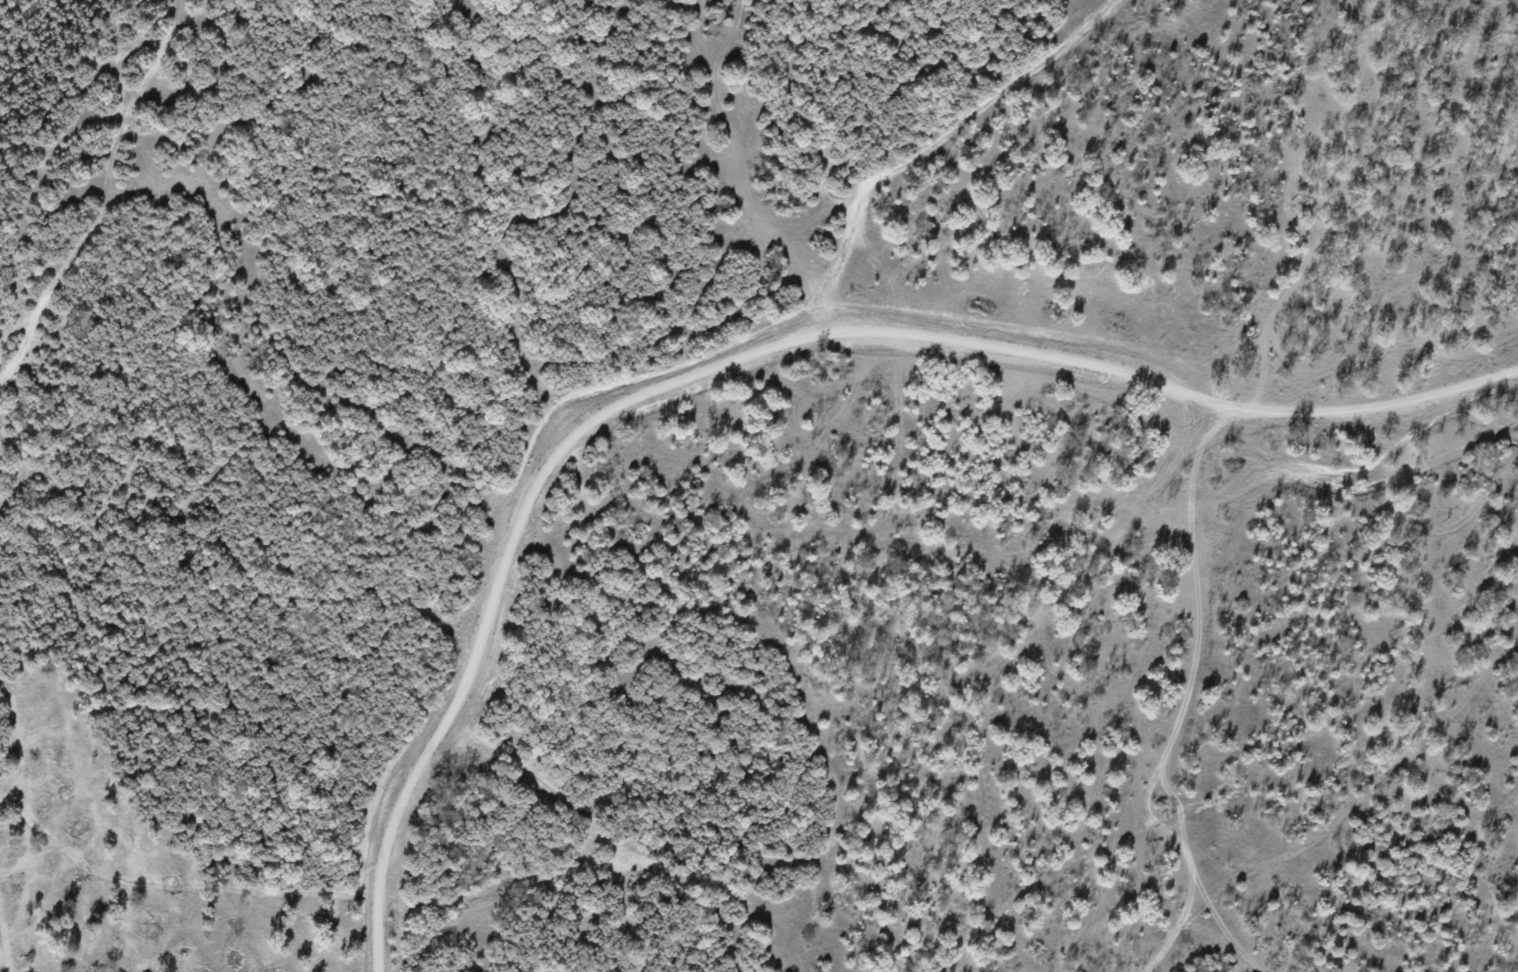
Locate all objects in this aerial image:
road: (910, 140)
road: (749, 352)

